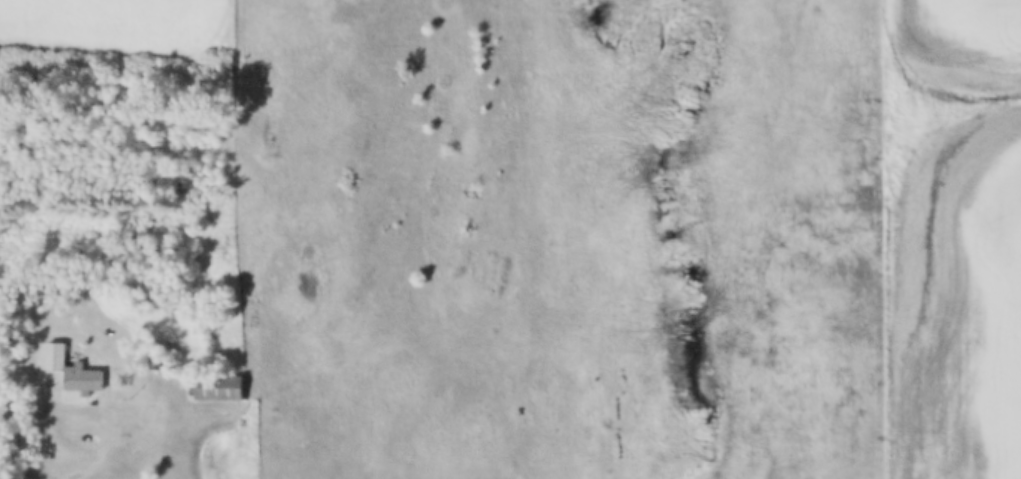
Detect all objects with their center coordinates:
building: (74, 370)
building: (221, 388)
road: (47, 410)

